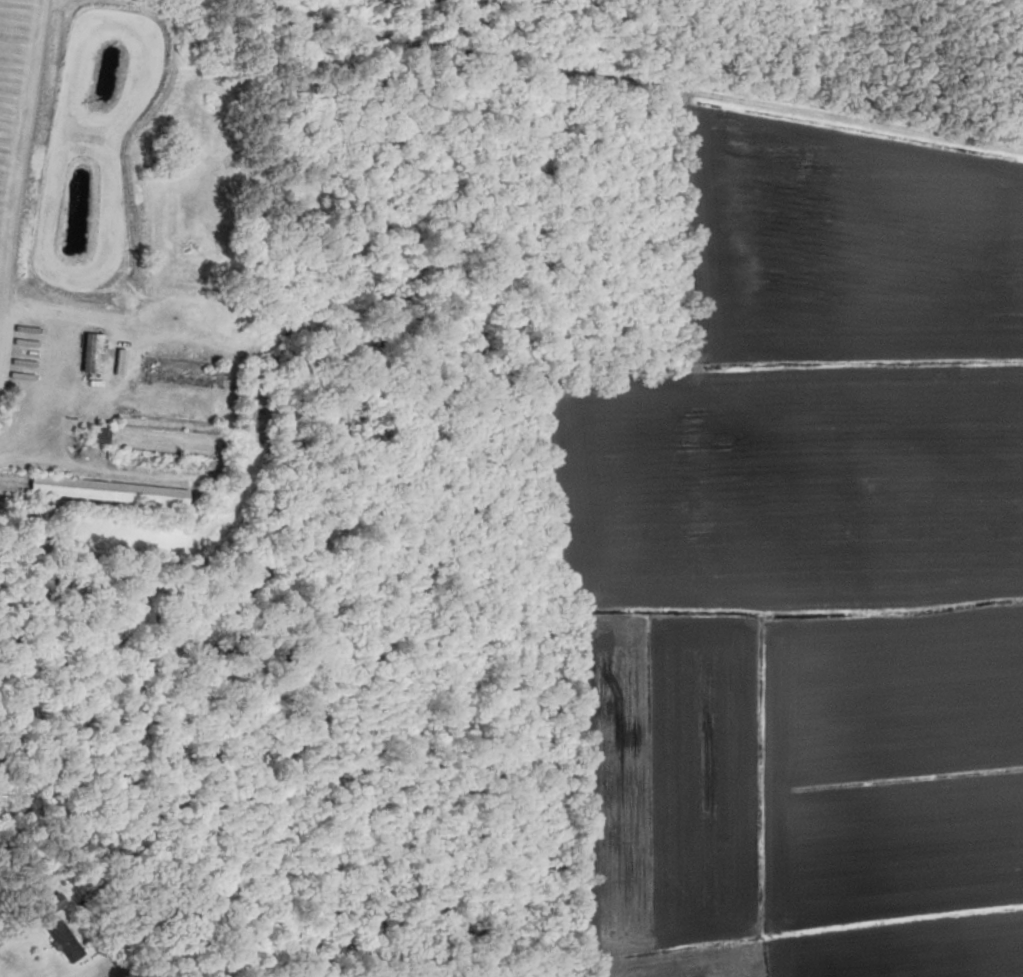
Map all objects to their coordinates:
building: (88, 368)
building: (182, 372)
building: (166, 424)
building: (94, 435)
building: (96, 491)
building: (45, 906)
road: (10, 934)
building: (60, 940)

